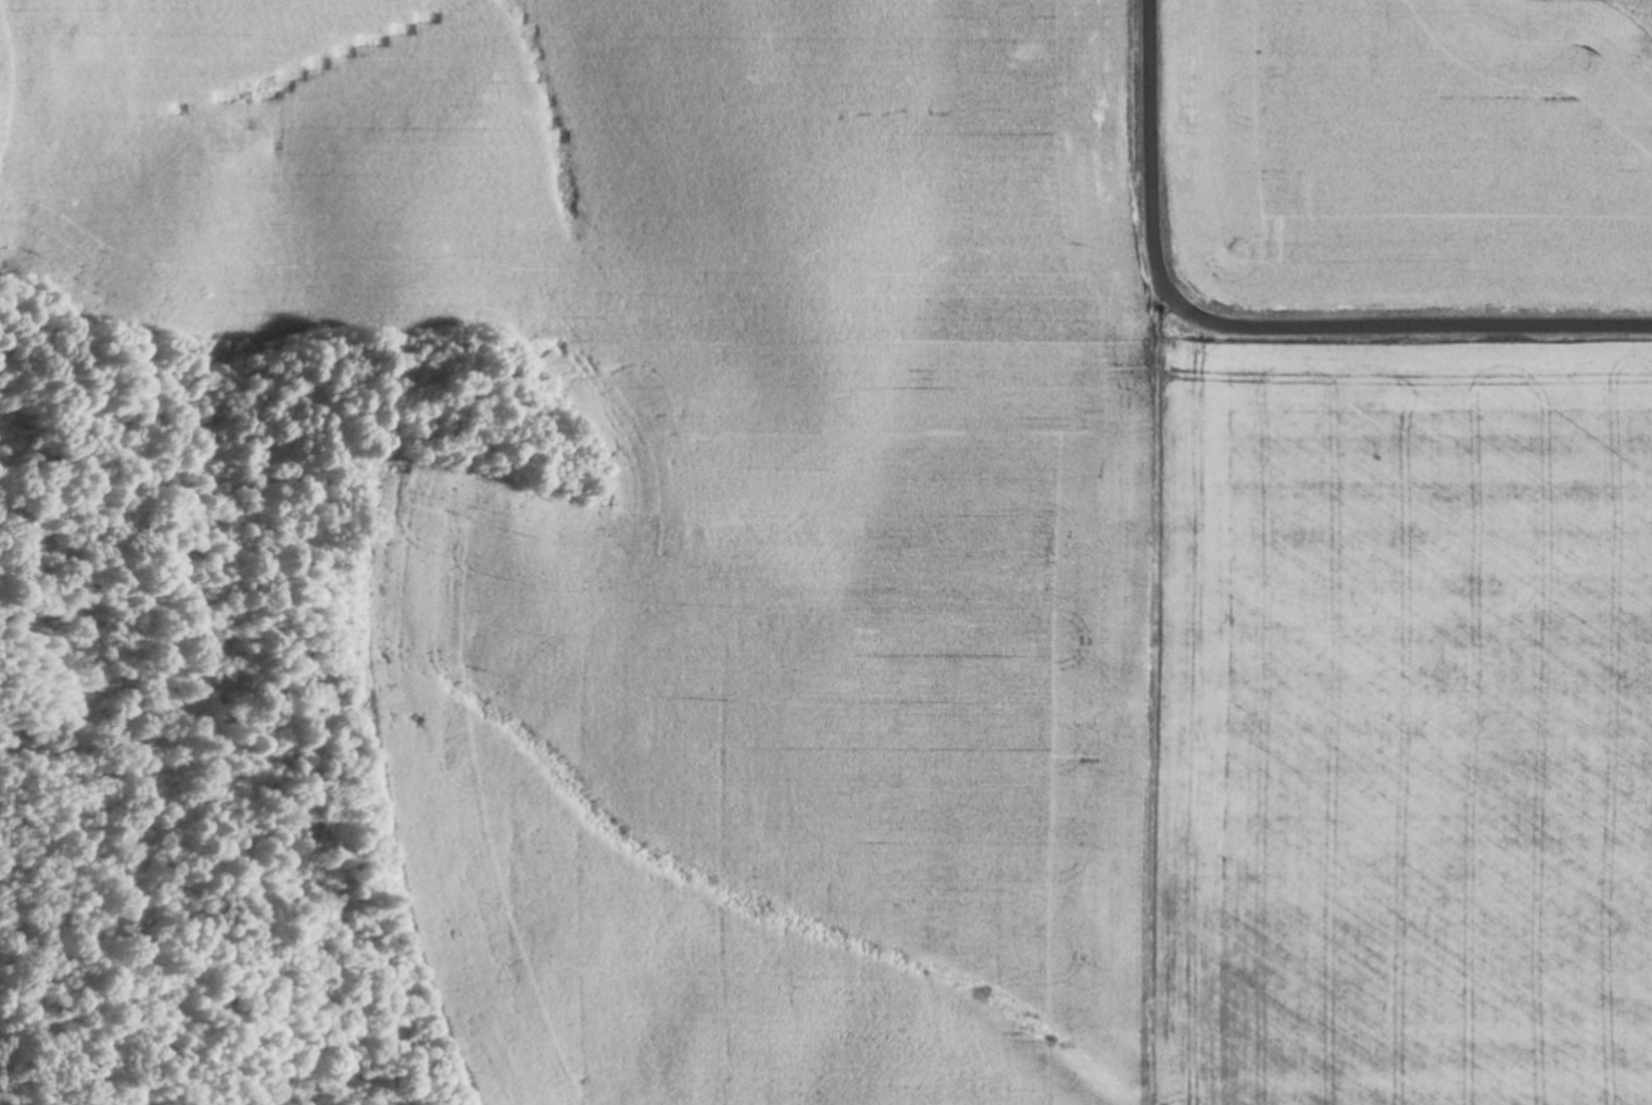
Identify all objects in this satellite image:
road: (1257, 325)

